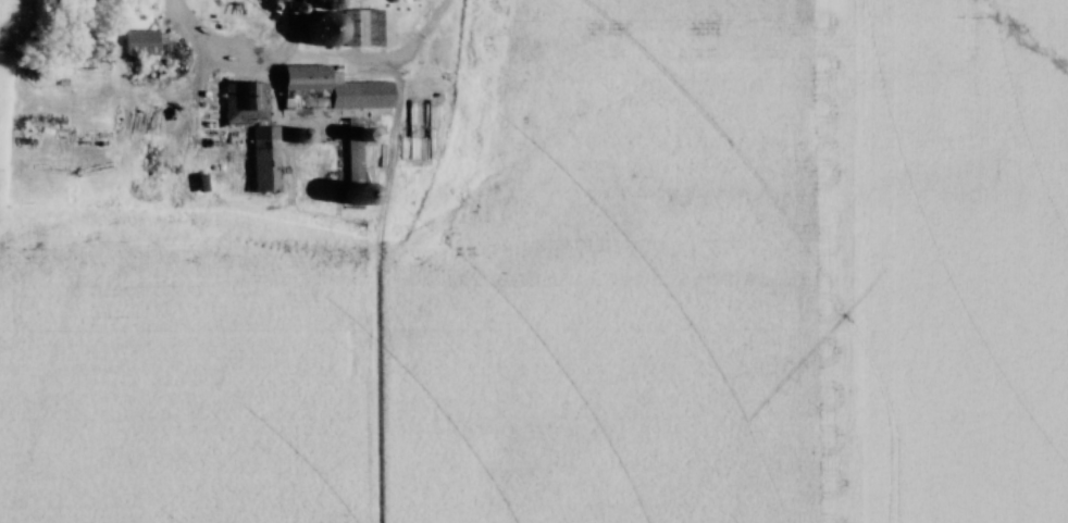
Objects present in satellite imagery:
building: (276, 10)
building: (364, 27)
building: (139, 42)
road: (308, 47)
building: (358, 92)
building: (263, 157)
building: (351, 166)

